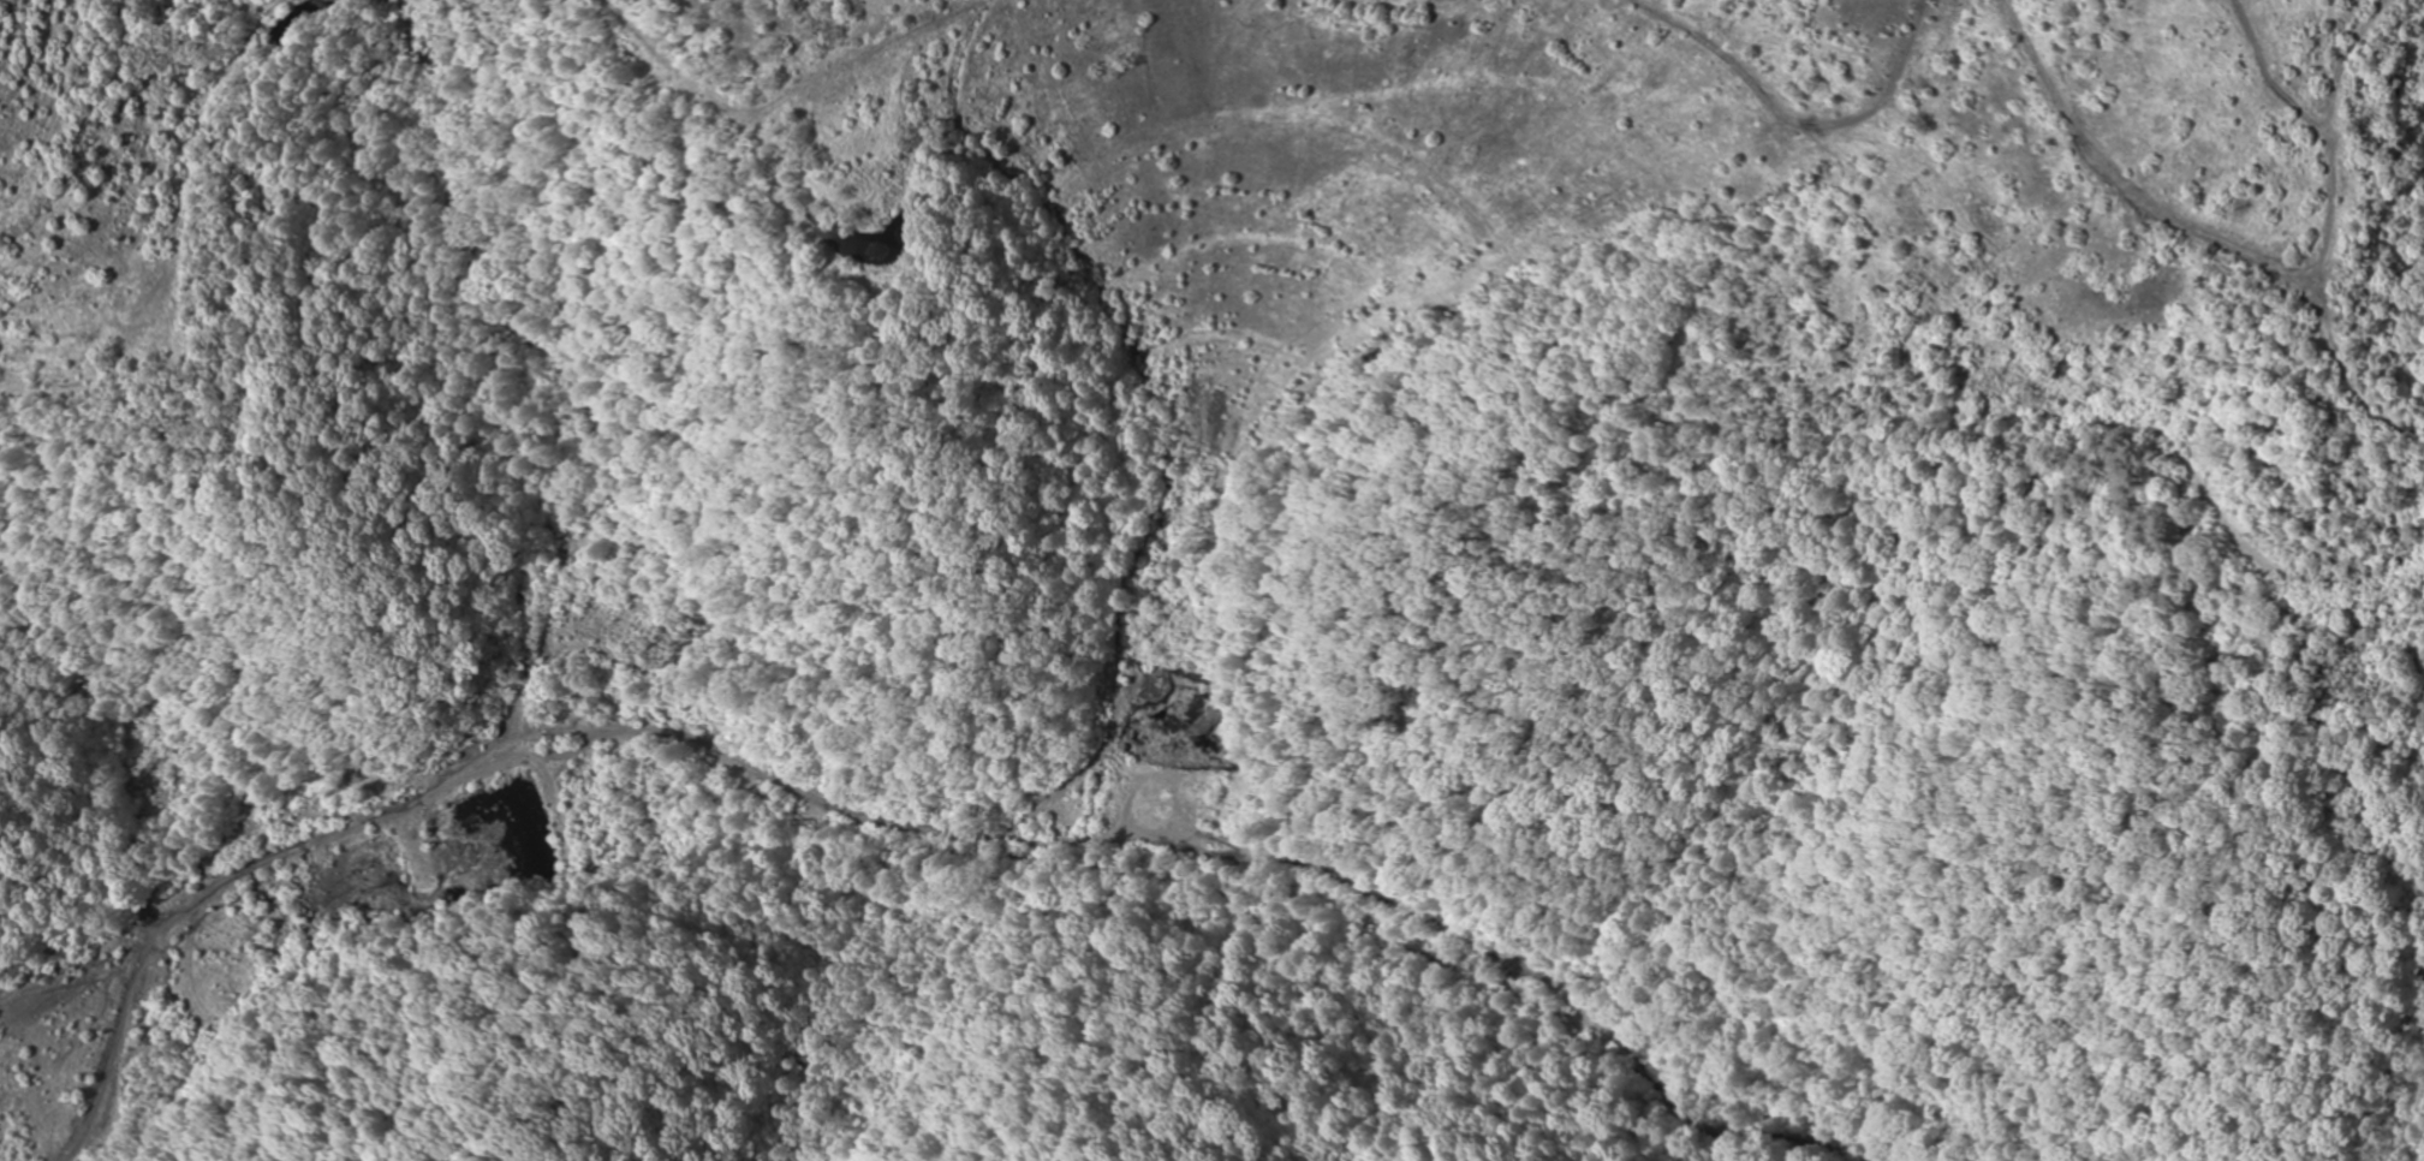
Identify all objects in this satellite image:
road: (854, 857)

